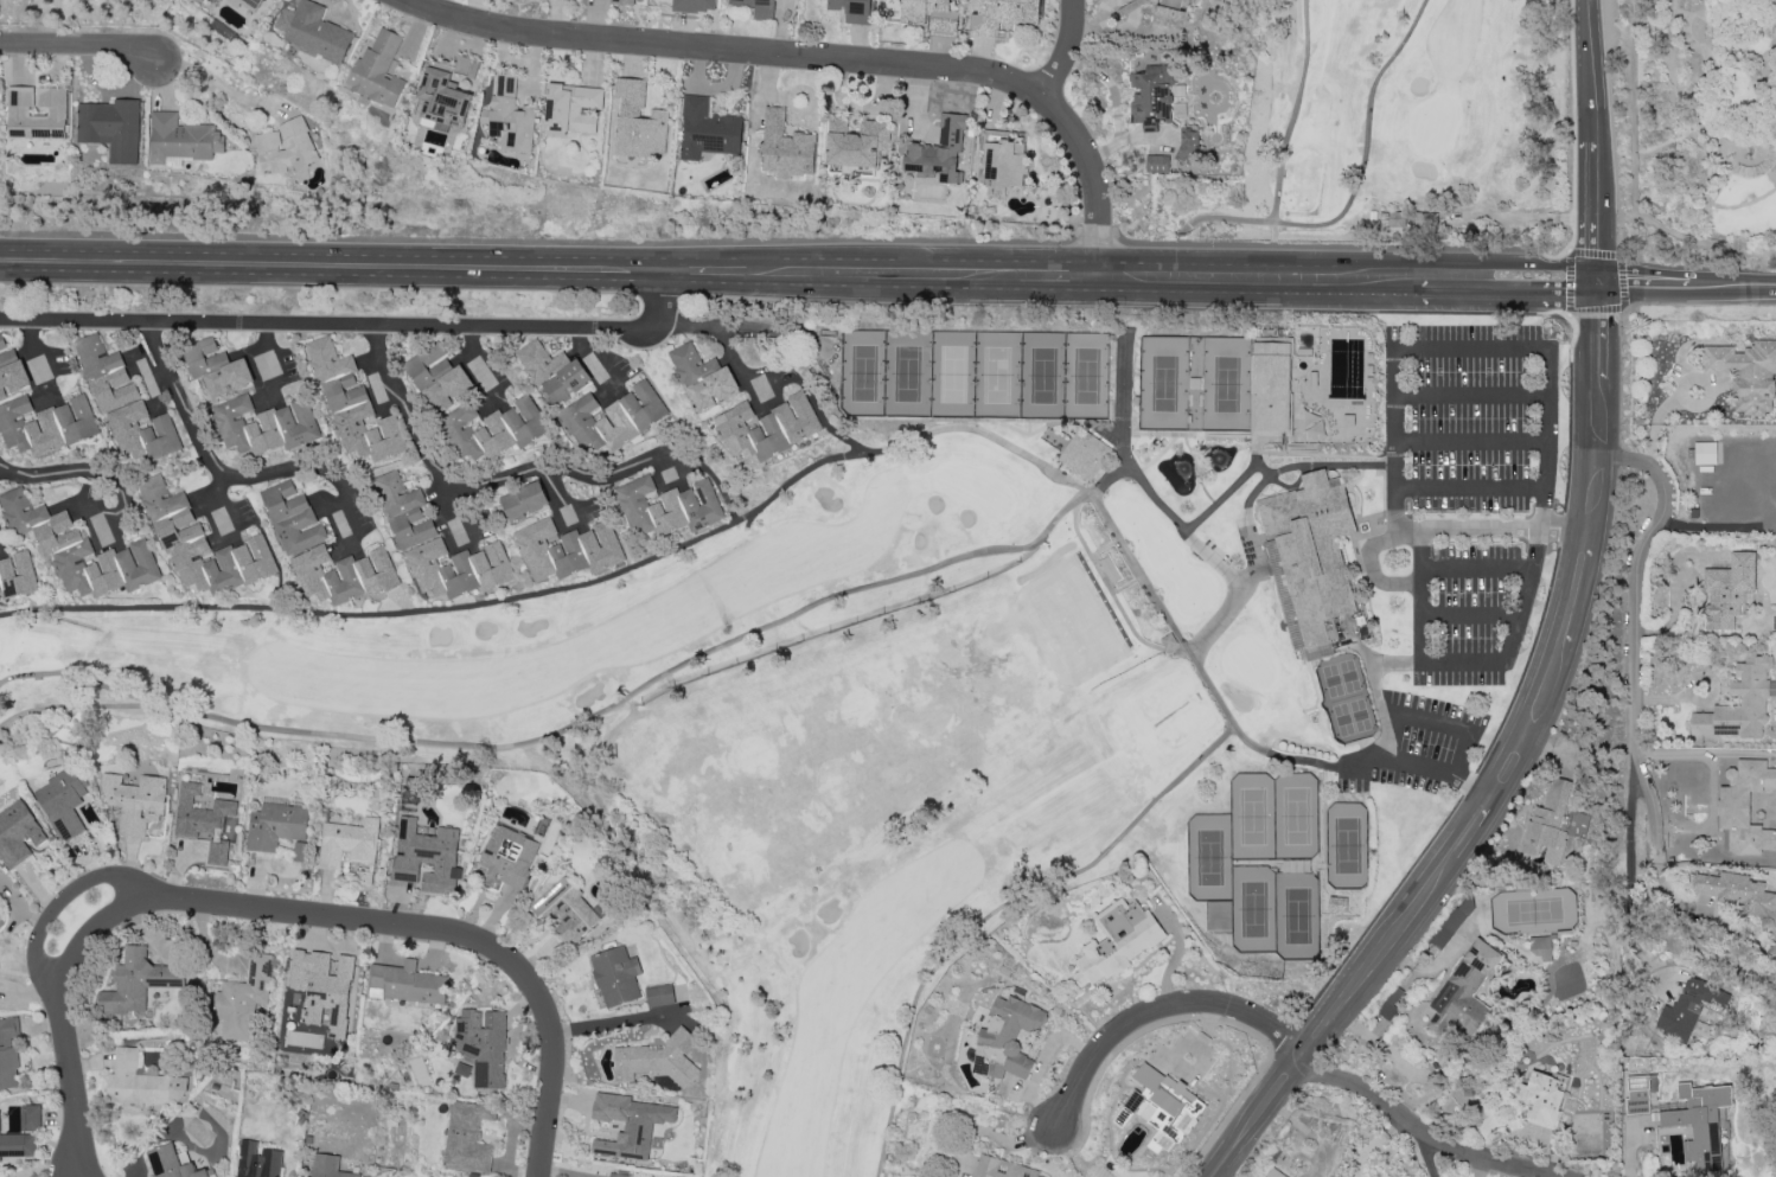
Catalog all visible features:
building: (621, 1)
building: (1184, 1)
road: (1775, 1)
building: (248, 5)
building: (694, 5)
building: (758, 7)
building: (852, 9)
building: (928, 14)
building: (1002, 14)
building: (1168, 17)
building: (313, 31)
road: (75, 43)
road: (1067, 51)
road: (826, 59)
building: (377, 69)
road: (213, 81)
building: (1151, 95)
building: (440, 100)
building: (571, 107)
building: (36, 111)
building: (509, 115)
road: (1291, 121)
building: (637, 122)
building: (111, 127)
building: (707, 129)
road: (1694, 134)
building: (181, 137)
road: (1595, 141)
road: (1662, 141)
building: (856, 142)
park: (1689, 143)
building: (785, 145)
building: (1188, 145)
building: (283, 146)
building: (939, 151)
building: (1157, 162)
road: (1771, 177)
road: (1634, 178)
road: (1353, 185)
road: (1516, 218)
building: (1512, 232)
road: (1445, 248)
road: (1512, 264)
road: (332, 268)
road: (1405, 270)
road: (704, 273)
road: (883, 276)
road: (1061, 279)
road: (1244, 279)
road: (1642, 281)
road: (1733, 281)
road: (1404, 284)
road: (1508, 294)
road: (356, 327)
road: (1125, 330)
road: (1468, 347)
road: (43, 358)
road: (606, 360)
building: (217, 367)
road: (281, 369)
road: (485, 369)
building: (552, 370)
building: (11, 371)
building: (104, 372)
building: (1745, 372)
park: (977, 373)
building: (437, 376)
building: (703, 377)
road: (677, 379)
park: (1195, 382)
road: (759, 384)
building: (1270, 388)
road: (1468, 392)
building: (353, 408)
road: (382, 414)
road: (159, 415)
building: (611, 418)
building: (45, 424)
building: (264, 426)
building: (767, 427)
building: (494, 428)
building: (141, 433)
road: (1468, 439)
road: (1390, 440)
building: (1704, 452)
building: (1084, 453)
road: (428, 455)
road: (344, 466)
road: (52, 473)
road: (607, 473)
road: (228, 476)
road: (1109, 478)
road: (1292, 485)
road: (1467, 485)
parking lot: (1469, 488)
road: (558, 494)
building: (524, 500)
building: (667, 506)
road: (1541, 506)
road: (121, 508)
road: (229, 510)
building: (404, 511)
building: (292, 517)
road: (464, 519)
road: (1192, 523)
road: (1439, 531)
building: (202, 545)
building: (567, 548)
building: (78, 549)
road: (1212, 557)
building: (1309, 557)
road: (1254, 565)
road: (1476, 565)
building: (458, 568)
building: (1109, 568)
building: (15, 574)
building: (344, 574)
road: (573, 588)
building: (1727, 590)
road: (1470, 614)
road: (743, 637)
road: (1411, 660)
road: (1463, 661)
road: (1635, 663)
road: (78, 670)
park: (960, 670)
park: (1346, 697)
building: (1739, 702)
road: (1429, 721)
parking lot: (1410, 749)
road: (1397, 762)
road: (1509, 768)
road: (1456, 773)
building: (134, 801)
building: (62, 802)
building: (1744, 805)
building: (203, 819)
building: (1552, 823)
building: (275, 824)
building: (18, 834)
building: (349, 842)
park: (1348, 844)
building: (299, 850)
building: (426, 856)
building: (506, 856)
park: (1231, 868)
road: (1628, 874)
building: (1740, 897)
road: (56, 900)
building: (1337, 903)
building: (566, 909)
road: (996, 910)
building: (1451, 922)
road: (414, 929)
building: (1116, 940)
building: (1540, 946)
building: (615, 975)
building: (138, 981)
building: (407, 983)
building: (322, 987)
building: (1464, 990)
building: (659, 994)
building: (242, 998)
building: (1390, 1004)
building: (1689, 1008)
road: (1161, 1011)
road: (613, 1023)
building: (1005, 1038)
building: (481, 1047)
building: (8, 1053)
road: (70, 1054)
building: (658, 1058)
road: (1419, 1074)
building: (140, 1082)
building: (1636, 1095)
building: (1541, 1096)
building: (1163, 1105)
building: (30, 1117)
building: (628, 1124)
building: (1694, 1130)
road: (1431, 1132)
building: (467, 1137)
building: (17, 1144)
road: (1425, 1151)
road: (69, 1154)
building: (257, 1160)
building: (172, 1163)
building: (328, 1166)
building: (1002, 1168)
building: (1273, 1173)
building: (620, 1175)
building: (671, 1176)

